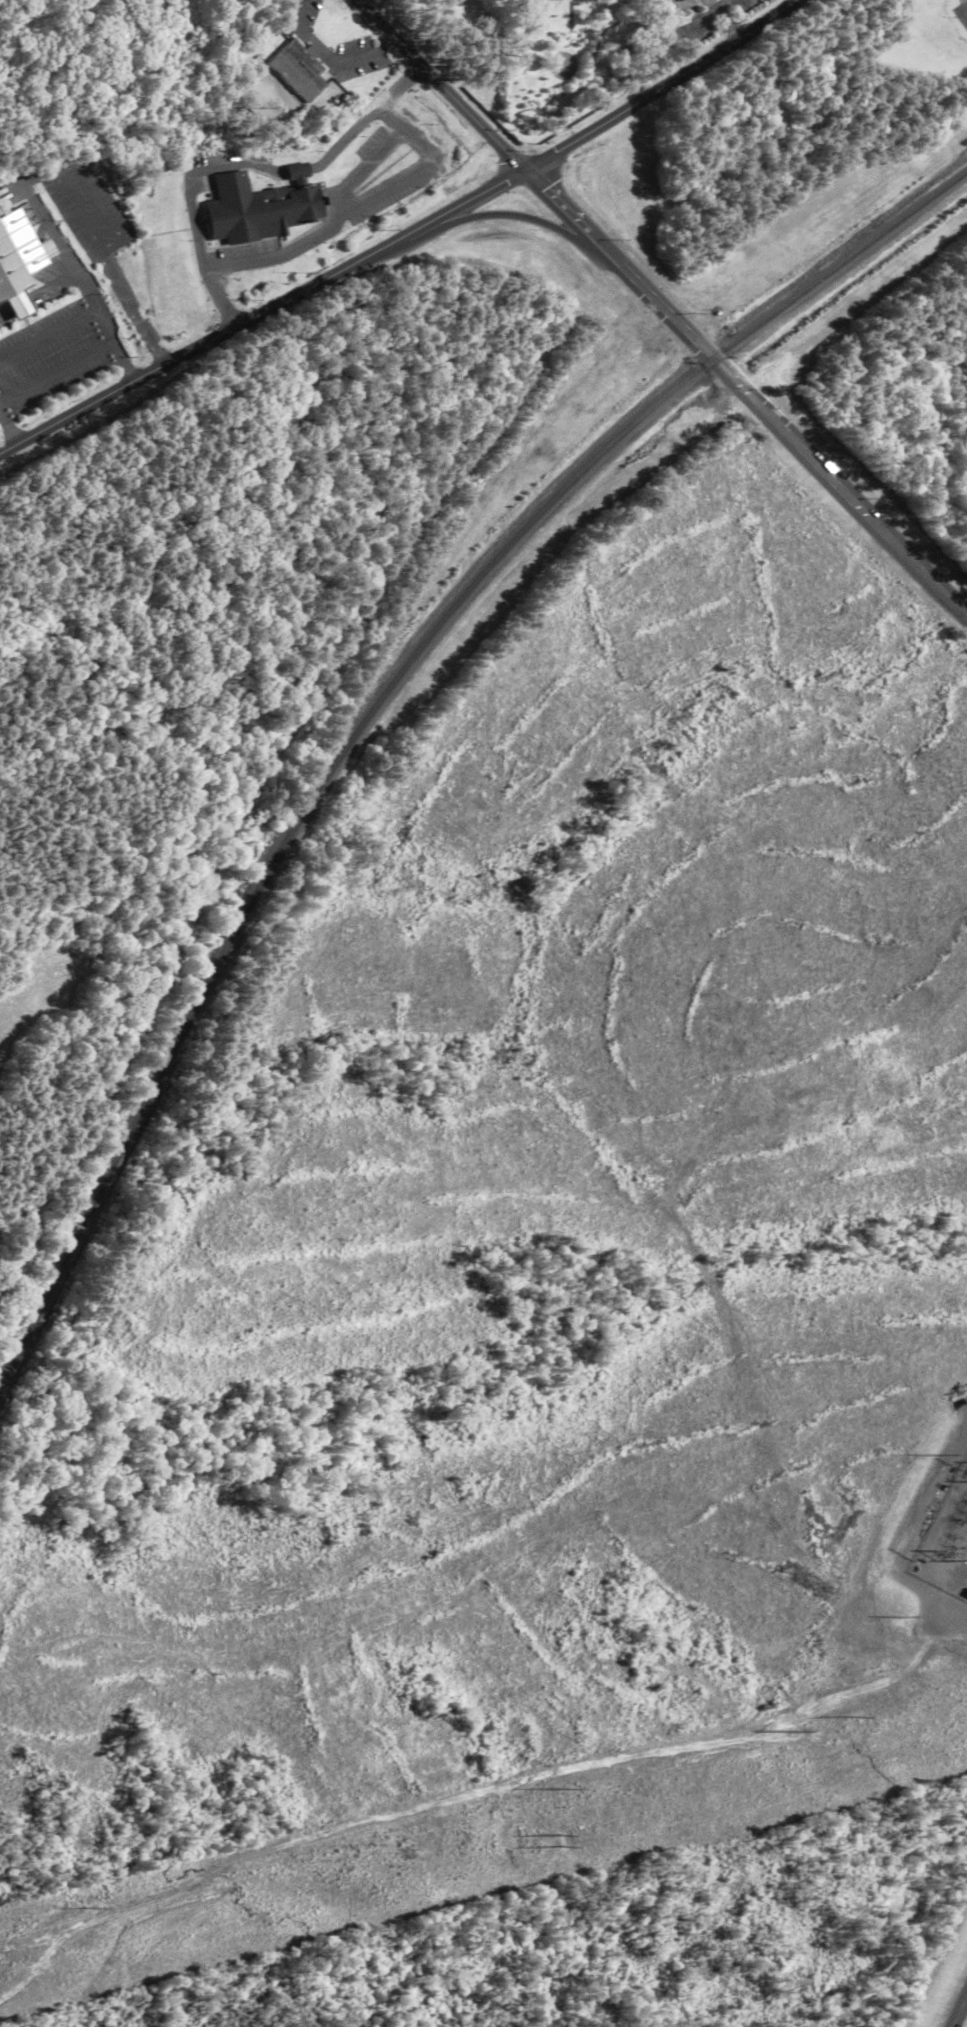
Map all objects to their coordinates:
building: (451, 3)
building: (299, 70)
road: (441, 84)
road: (36, 177)
road: (548, 195)
road: (355, 207)
road: (515, 216)
road: (50, 227)
road: (403, 236)
road: (112, 248)
building: (21, 261)
road: (54, 285)
road: (21, 303)
road: (133, 308)
road: (5, 313)
road: (105, 327)
road: (769, 417)
road: (9, 427)
railway: (383, 703)
power substation: (946, 1542)
power tower: (560, 1841)
road: (958, 2008)

